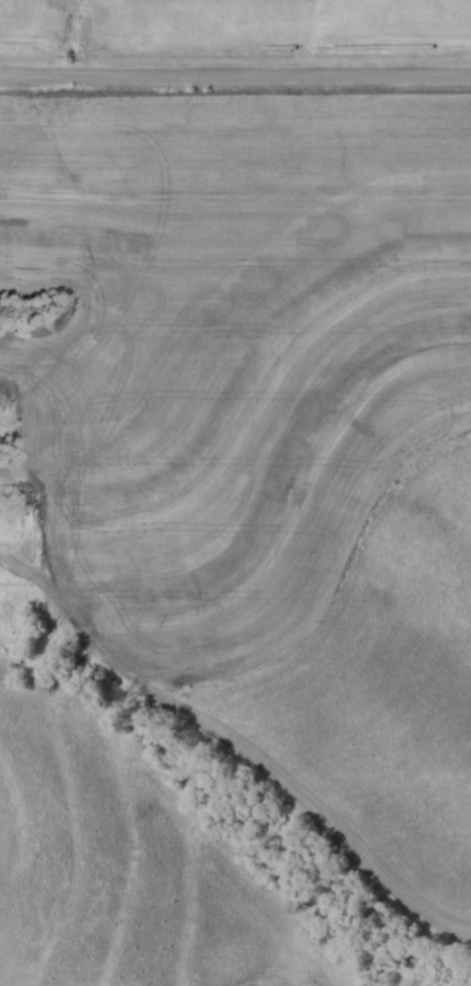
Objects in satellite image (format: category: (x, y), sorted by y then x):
road: (235, 75)

